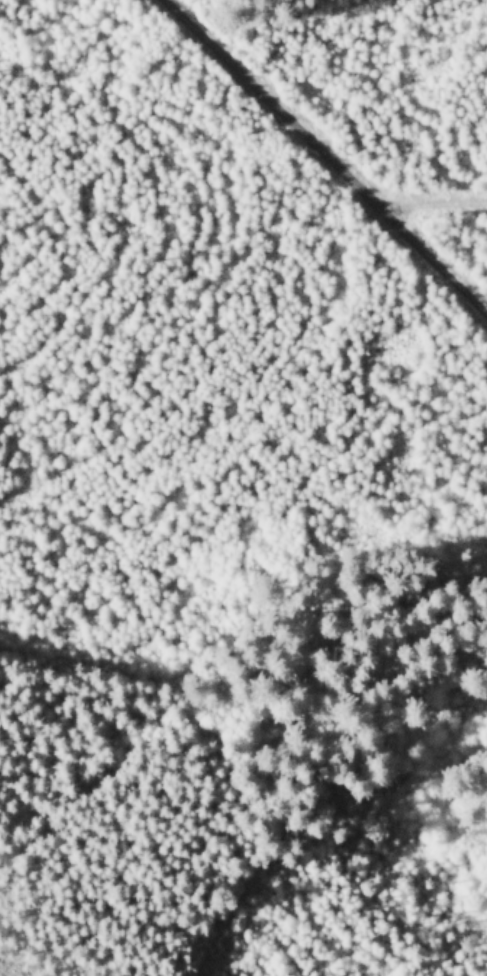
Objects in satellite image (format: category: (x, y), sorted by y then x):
road: (352, 130)

